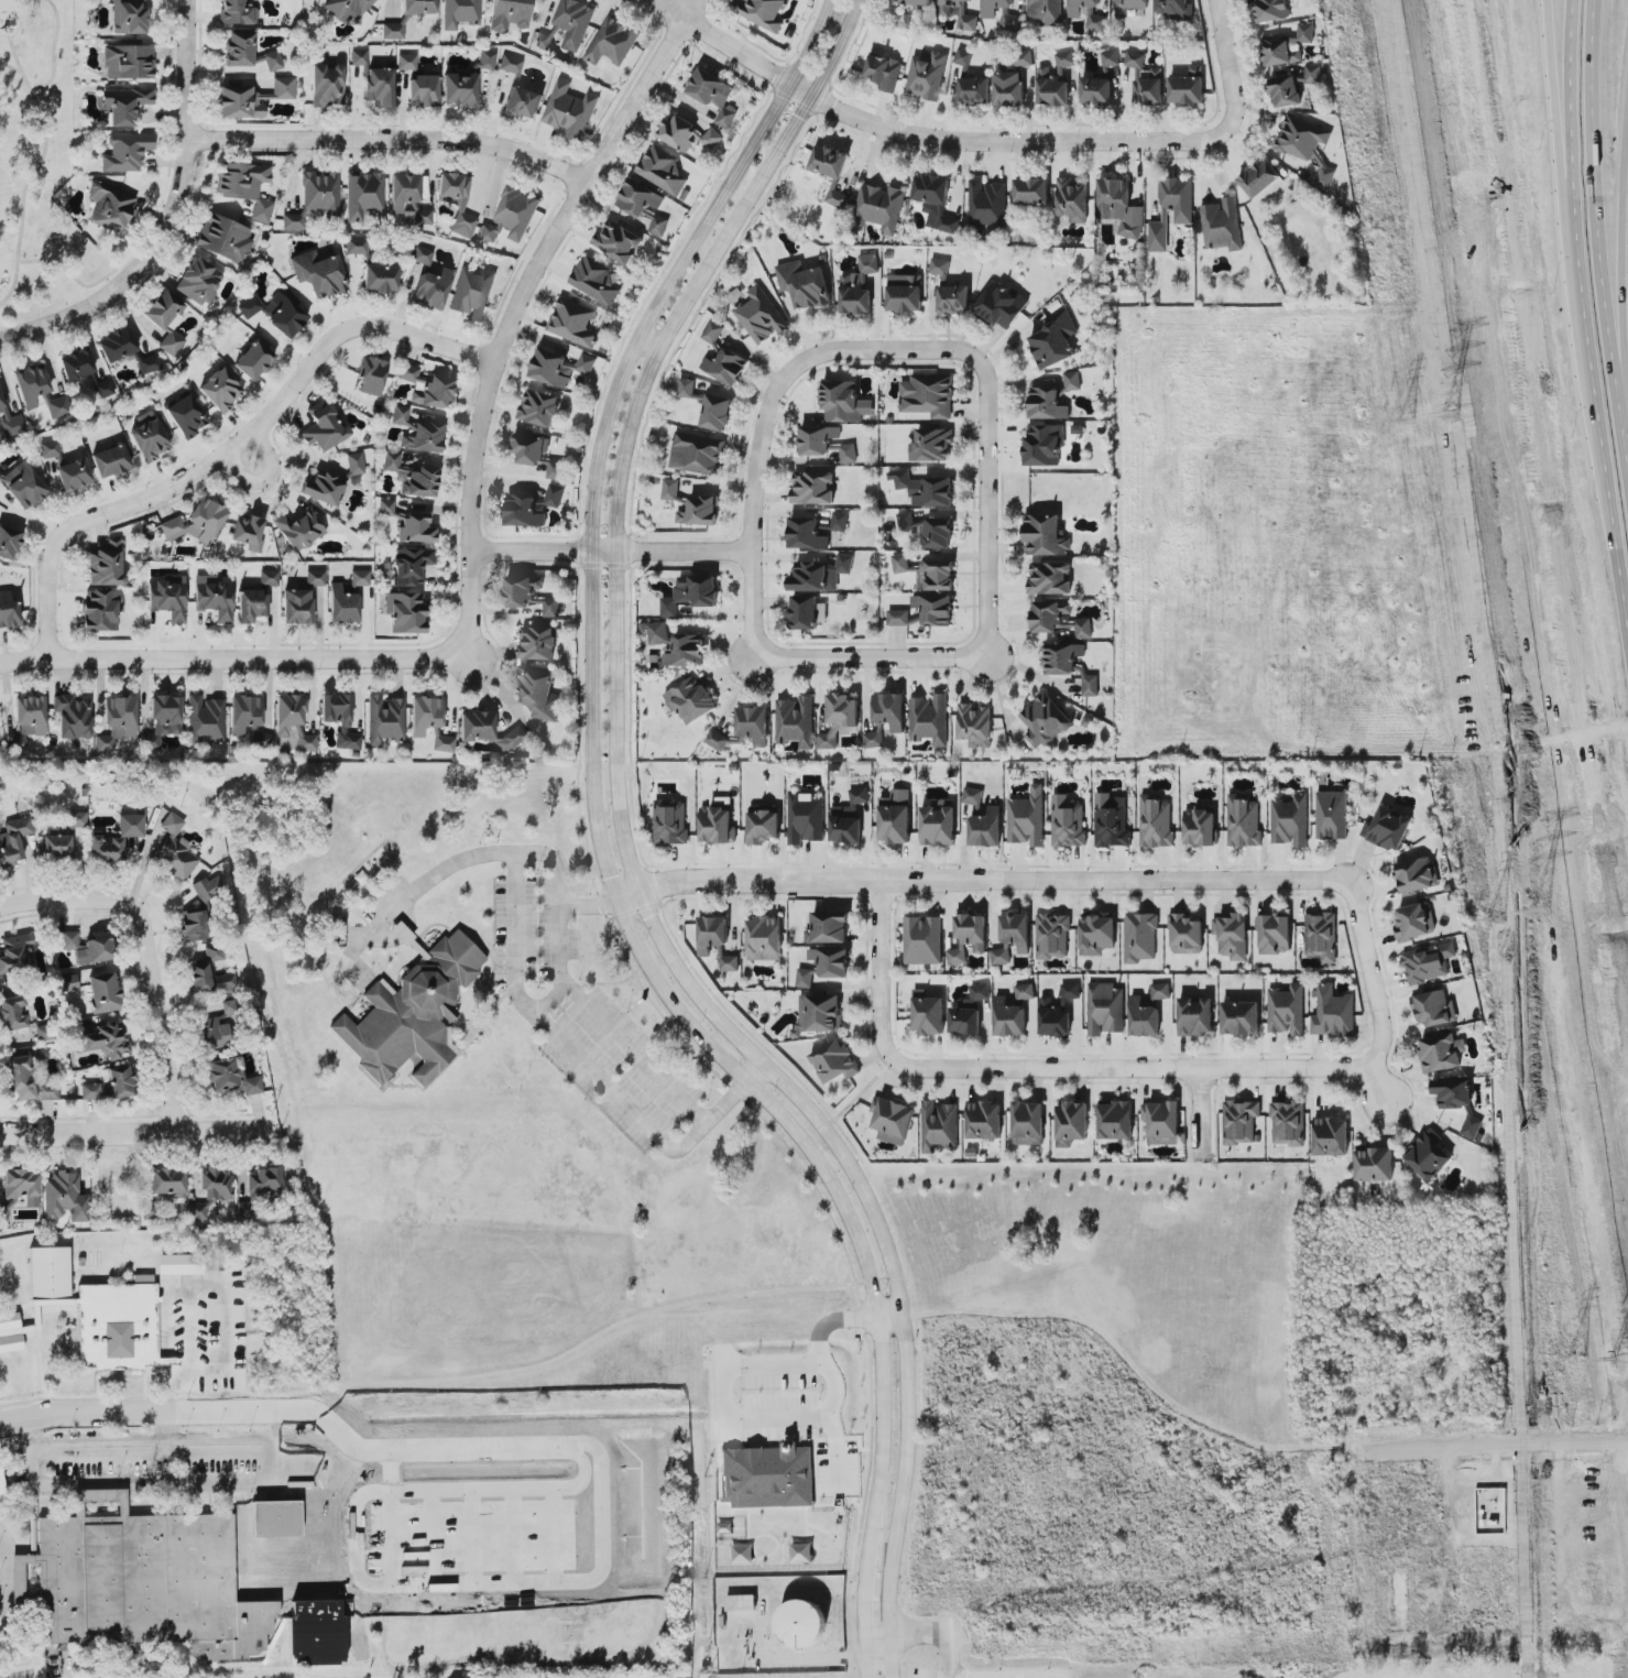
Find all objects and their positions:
road: (667, 2)
building: (917, 2)
building: (417, 7)
building: (994, 7)
building: (1129, 7)
building: (1176, 8)
road: (692, 9)
building: (345, 10)
building: (1271, 10)
building: (238, 11)
building: (763, 12)
building: (460, 13)
building: (959, 13)
building: (1045, 13)
building: (1088, 13)
building: (509, 14)
building: (128, 17)
building: (1010, 21)
building: (575, 22)
building: (392, 31)
building: (545, 40)
building: (613, 42)
building: (1288, 46)
road: (52, 51)
building: (247, 53)
building: (358, 56)
building: (963, 57)
building: (485, 58)
building: (1023, 58)
building: (1135, 59)
building: (128, 62)
road: (10, 68)
building: (884, 72)
building: (1312, 74)
building: (927, 75)
building: (1055, 79)
building: (1101, 80)
building: (418, 81)
building: (327, 85)
building: (379, 85)
building: (1188, 87)
building: (459, 89)
building: (1008, 89)
building: (1286, 90)
building: (973, 91)
building: (1148, 91)
building: (714, 95)
building: (252, 98)
building: (523, 102)
building: (123, 103)
building: (569, 110)
road: (845, 115)
building: (689, 134)
building: (1301, 138)
road: (387, 140)
road: (1230, 150)
building: (125, 151)
building: (830, 161)
building: (663, 170)
road: (34, 171)
building: (1324, 176)
building: (1261, 181)
building: (245, 186)
building: (1031, 190)
building: (363, 195)
building: (839, 195)
building: (638, 197)
building: (315, 199)
building: (456, 200)
building: (936, 201)
building: (1072, 201)
building: (987, 205)
building: (110, 206)
building: (878, 208)
building: (1119, 208)
building: (1183, 215)
road: (168, 216)
building: (512, 216)
building: (659, 225)
building: (1222, 225)
building: (223, 238)
building: (619, 241)
building: (356, 244)
road: (131, 252)
building: (420, 252)
building: (941, 269)
building: (318, 273)
building: (380, 279)
building: (198, 280)
building: (599, 280)
building: (805, 284)
building: (860, 287)
building: (431, 290)
building: (472, 293)
building: (904, 297)
building: (953, 298)
building: (1001, 305)
building: (163, 309)
building: (276, 312)
road: (512, 314)
building: (762, 315)
building: (575, 322)
building: (165, 339)
road: (651, 339)
building: (1055, 340)
building: (116, 345)
building: (722, 357)
building: (253, 359)
building: (76, 363)
building: (147, 363)
building: (560, 368)
building: (371, 374)
road: (987, 379)
building: (1074, 380)
building: (30, 383)
building: (427, 386)
building: (102, 389)
building: (219, 389)
building: (686, 389)
building: (927, 396)
building: (844, 401)
building: (1047, 404)
building: (55, 405)
building: (539, 407)
building: (717, 411)
building: (185, 415)
power tower: (1451, 416)
building: (10, 422)
power tower: (1407, 423)
building: (323, 426)
building: (416, 431)
building: (149, 437)
building: (817, 439)
building: (933, 445)
building: (1044, 445)
building: (531, 448)
road: (231, 450)
building: (51, 451)
building: (849, 453)
building: (697, 454)
building: (109, 460)
building: (354, 464)
building: (556, 469)
building: (73, 475)
building: (411, 477)
road: (263, 478)
building: (22, 484)
building: (323, 488)
building: (813, 488)
building: (926, 489)
building: (691, 503)
building: (385, 506)
building: (533, 506)
building: (840, 521)
building: (196, 522)
building: (415, 527)
building: (297, 529)
building: (824, 529)
building: (928, 530)
building: (248, 532)
building: (806, 534)
road: (1549, 536)
building: (9, 542)
road: (611, 554)
building: (1047, 554)
building: (105, 564)
building: (409, 565)
building: (928, 569)
building: (820, 575)
building: (316, 578)
building: (691, 592)
building: (529, 593)
building: (212, 597)
building: (347, 597)
building: (255, 598)
building: (167, 599)
building: (296, 606)
building: (935, 609)
building: (8, 610)
building: (100, 610)
building: (405, 612)
building: (808, 612)
building: (898, 618)
building: (1059, 619)
building: (537, 642)
building: (677, 645)
building: (1062, 656)
road: (253, 658)
road: (23, 661)
building: (1091, 685)
building: (538, 693)
building: (691, 699)
building: (336, 708)
building: (889, 710)
building: (30, 713)
building: (243, 713)
building: (425, 713)
building: (72, 716)
building: (205, 718)
building: (839, 718)
building: (162, 719)
building: (930, 720)
building: (117, 721)
building: (293, 721)
building: (384, 721)
building: (796, 721)
building: (1052, 721)
building: (754, 723)
building: (975, 724)
building: (488, 730)
building: (347, 739)
building: (720, 739)
building: (874, 739)
building: (442, 743)
building: (860, 795)
building: (975, 800)
building: (1332, 815)
building: (895, 817)
building: (806, 818)
building: (1027, 818)
building: (76, 819)
building: (1244, 820)
building: (1290, 820)
building: (671, 821)
building: (1112, 821)
building: (1156, 821)
building: (849, 824)
building: (1069, 824)
building: (715, 825)
building: (938, 825)
building: (763, 826)
building: (1200, 827)
building: (985, 828)
building: (1388, 828)
building: (116, 838)
building: (13, 839)
building: (56, 847)
building: (173, 850)
road: (627, 852)
road: (602, 853)
building: (1417, 874)
road: (982, 880)
building: (208, 887)
road: (557, 897)
road: (586, 906)
power tower: (1540, 912)
power tower: (1496, 919)
building: (1416, 920)
building: (193, 925)
building: (829, 927)
building: (1016, 930)
road: (400, 931)
building: (1096, 934)
building: (1186, 934)
building: (1275, 934)
building: (1053, 935)
building: (1232, 935)
building: (1322, 936)
building: (969, 937)
building: (1140, 937)
building: (765, 938)
building: (922, 939)
building: (717, 940)
building: (87, 947)
road: (140, 954)
building: (15, 955)
building: (1003, 955)
building: (831, 961)
building: (1429, 962)
building: (210, 972)
building: (102, 990)
building: (1025, 991)
building: (1160, 991)
building: (228, 1007)
building: (1105, 1009)
building: (1434, 1009)
building: (1287, 1010)
building: (969, 1011)
building: (1058, 1011)
building: (12, 1012)
building: (412, 1012)
building: (820, 1012)
building: (928, 1013)
building: (1333, 1013)
building: (1010, 1015)
building: (1195, 1016)
building: (1241, 1017)
building: (1144, 1018)
building: (42, 1032)
building: (214, 1032)
building: (105, 1040)
building: (1441, 1052)
building: (41, 1054)
building: (834, 1061)
road: (1135, 1067)
road: (653, 1069)
building: (221, 1075)
road: (756, 1075)
building: (26, 1080)
road: (1376, 1083)
building: (109, 1085)
building: (251, 1085)
road: (862, 1090)
building: (1453, 1092)
road: (619, 1093)
road: (1200, 1105)
building: (893, 1120)
building: (984, 1120)
building: (1116, 1120)
building: (1241, 1121)
building: (1071, 1122)
building: (1163, 1122)
building: (1288, 1122)
building: (1028, 1123)
building: (940, 1126)
building: (1472, 1126)
road: (130, 1132)
building: (1331, 1136)
building: (1428, 1155)
building: (1374, 1163)
building: (166, 1180)
building: (19, 1184)
building: (258, 1188)
building: (210, 1190)
building: (64, 1197)
building: (179, 1264)
building: (48, 1274)
building: (142, 1278)
building: (117, 1326)
building: (10, 1332)
power tower: (1576, 1359)
power tower: (1622, 1361)
road: (220, 1372)
road: (468, 1374)
road: (81, 1414)
road: (793, 1419)
road: (98, 1445)
road: (1486, 1447)
road: (416, 1454)
building: (767, 1478)
road: (511, 1491)
building: (98, 1499)
road: (476, 1539)
road: (514, 1539)
road: (555, 1539)
road: (359, 1540)
road: (436, 1540)
road: (4, 1576)
building: (177, 1586)
road: (451, 1589)
building: (741, 1602)
road: (926, 1632)

